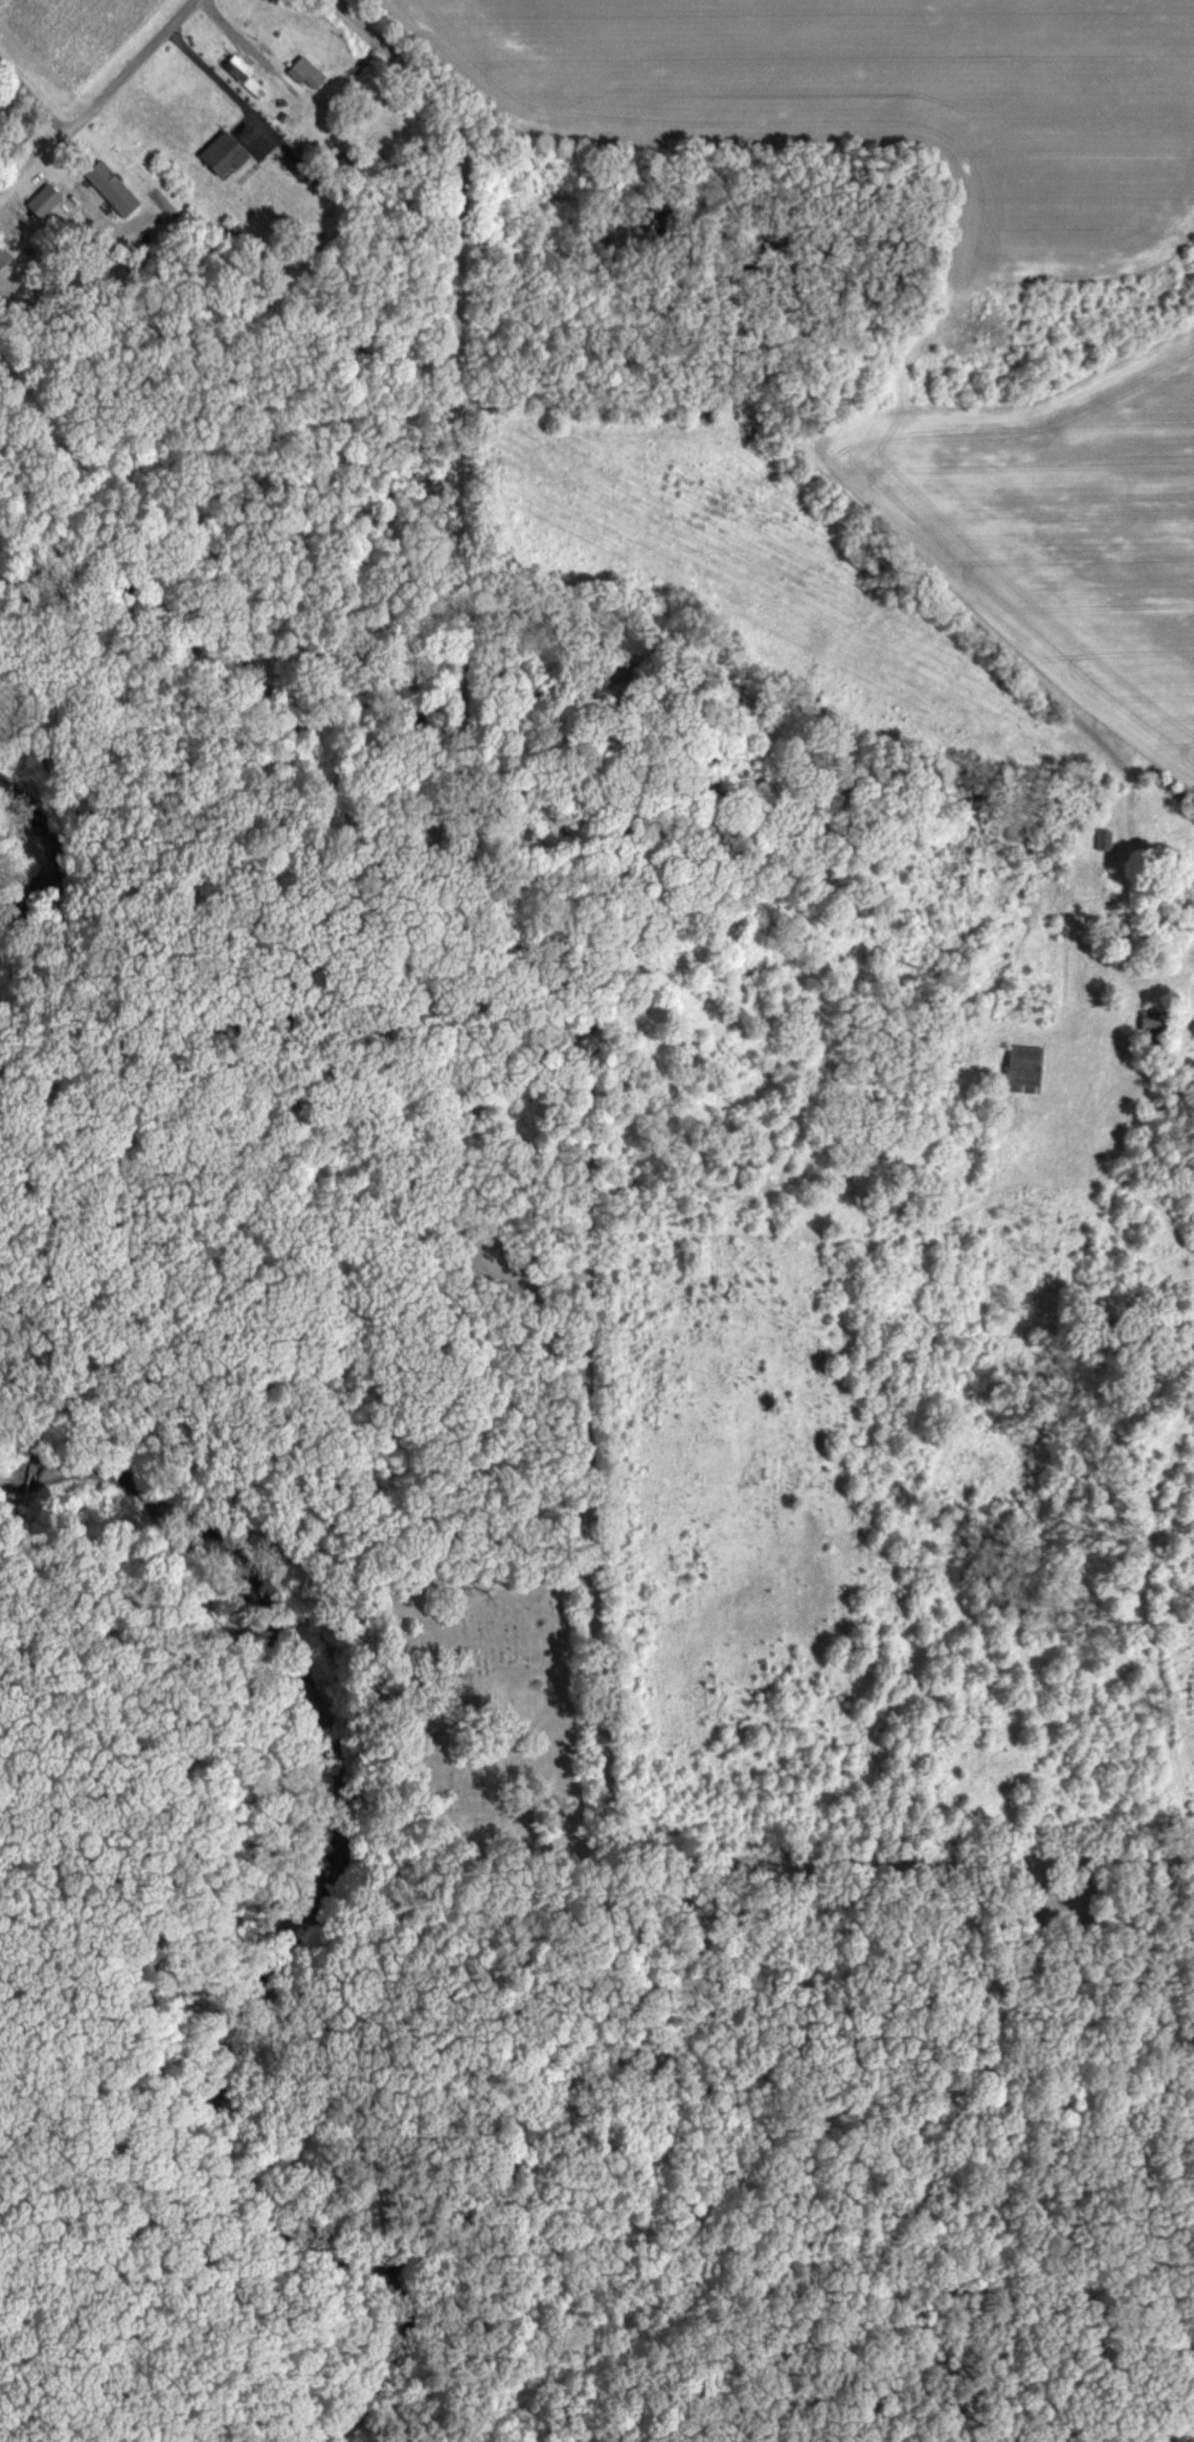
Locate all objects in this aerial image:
road: (401, 63)
building: (238, 71)
building: (307, 76)
road: (213, 77)
road: (124, 81)
building: (225, 158)
building: (113, 191)
building: (45, 205)
building: (4, 259)
road: (891, 539)
road: (29, 733)
road: (326, 822)
road: (1, 878)
building: (1024, 1072)
road: (230, 1151)
parking lot: (481, 1254)
road: (585, 1266)
road: (516, 1273)
park: (495, 1717)

